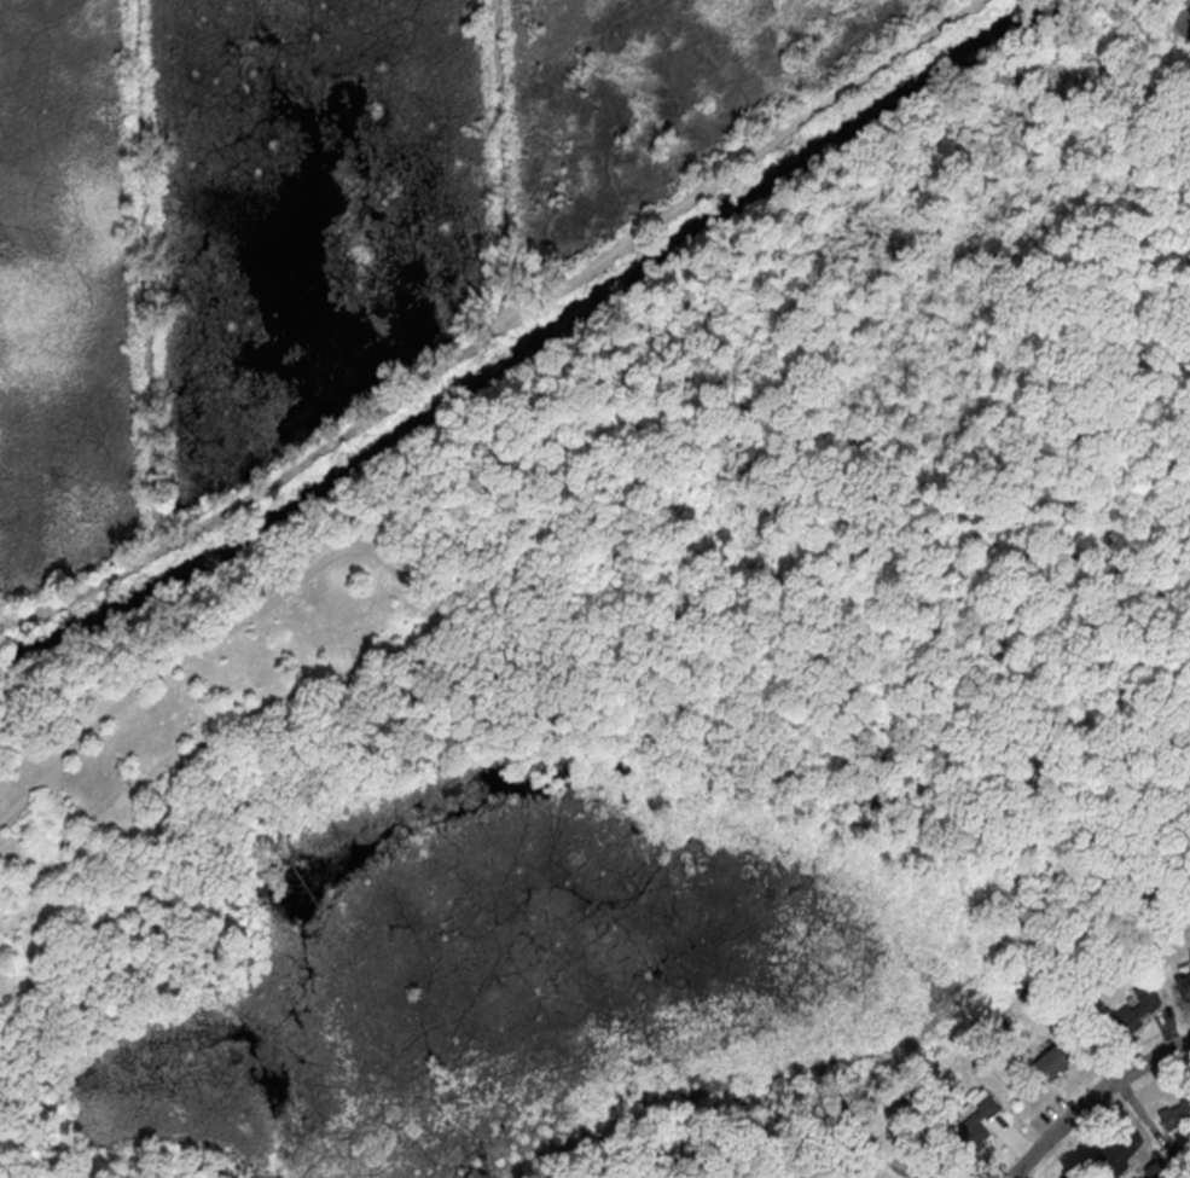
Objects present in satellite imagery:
road: (1184, 18)
road: (503, 161)
road: (706, 254)
road: (147, 274)
road: (500, 327)
road: (1150, 346)
road: (1183, 360)
road: (394, 523)
park: (574, 569)
road: (405, 648)
road: (1085, 708)
road: (1130, 744)
building: (1185, 986)
building: (1132, 1014)
building: (1052, 1061)
road: (1092, 1097)
building: (1176, 1114)
building: (976, 1121)
road: (42, 1148)
building: (1119, 1150)
building: (934, 1170)
building: (1069, 1173)

